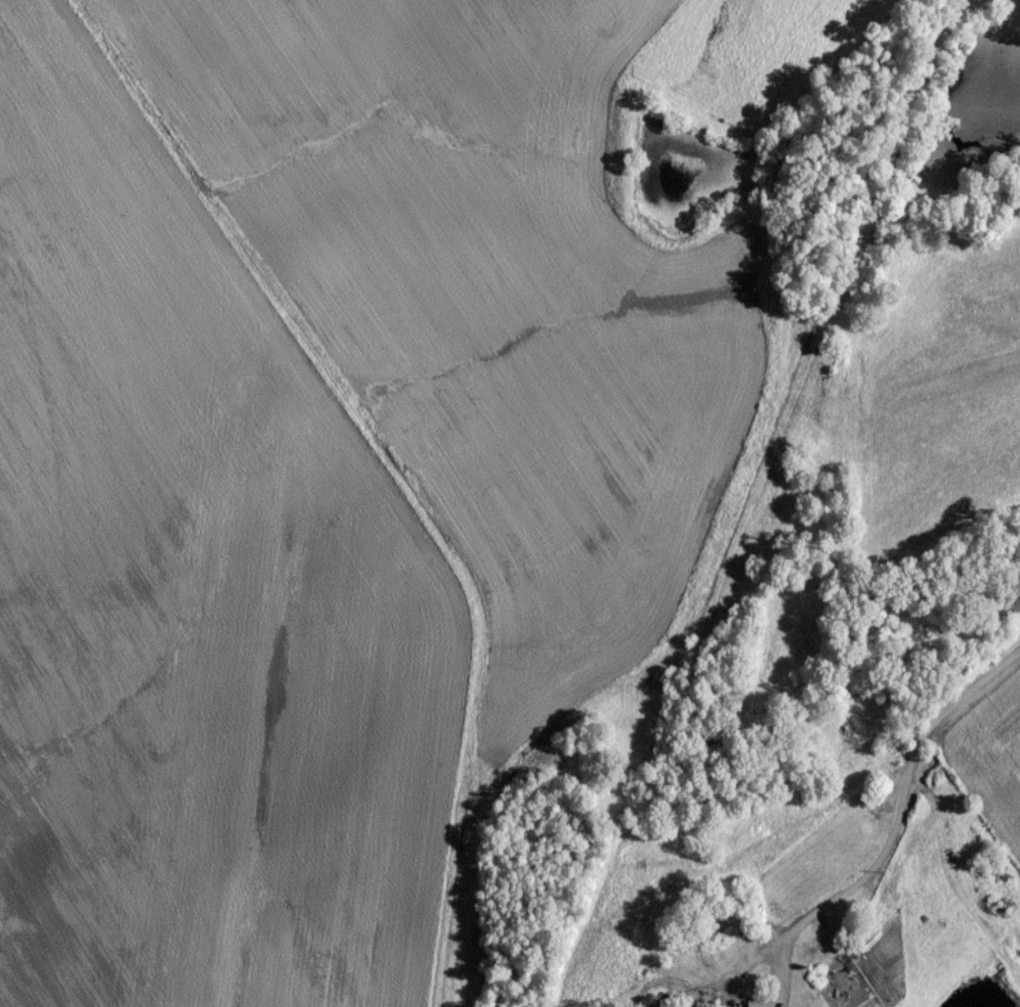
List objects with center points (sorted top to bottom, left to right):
road: (897, 801)

